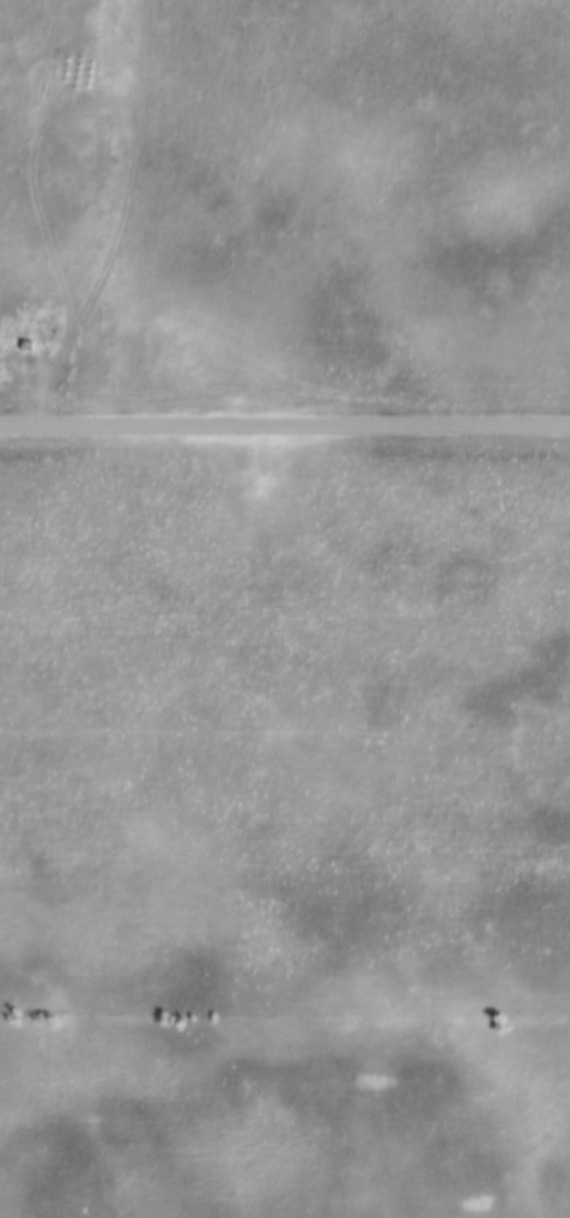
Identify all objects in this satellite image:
building: (26, 350)
road: (284, 425)

